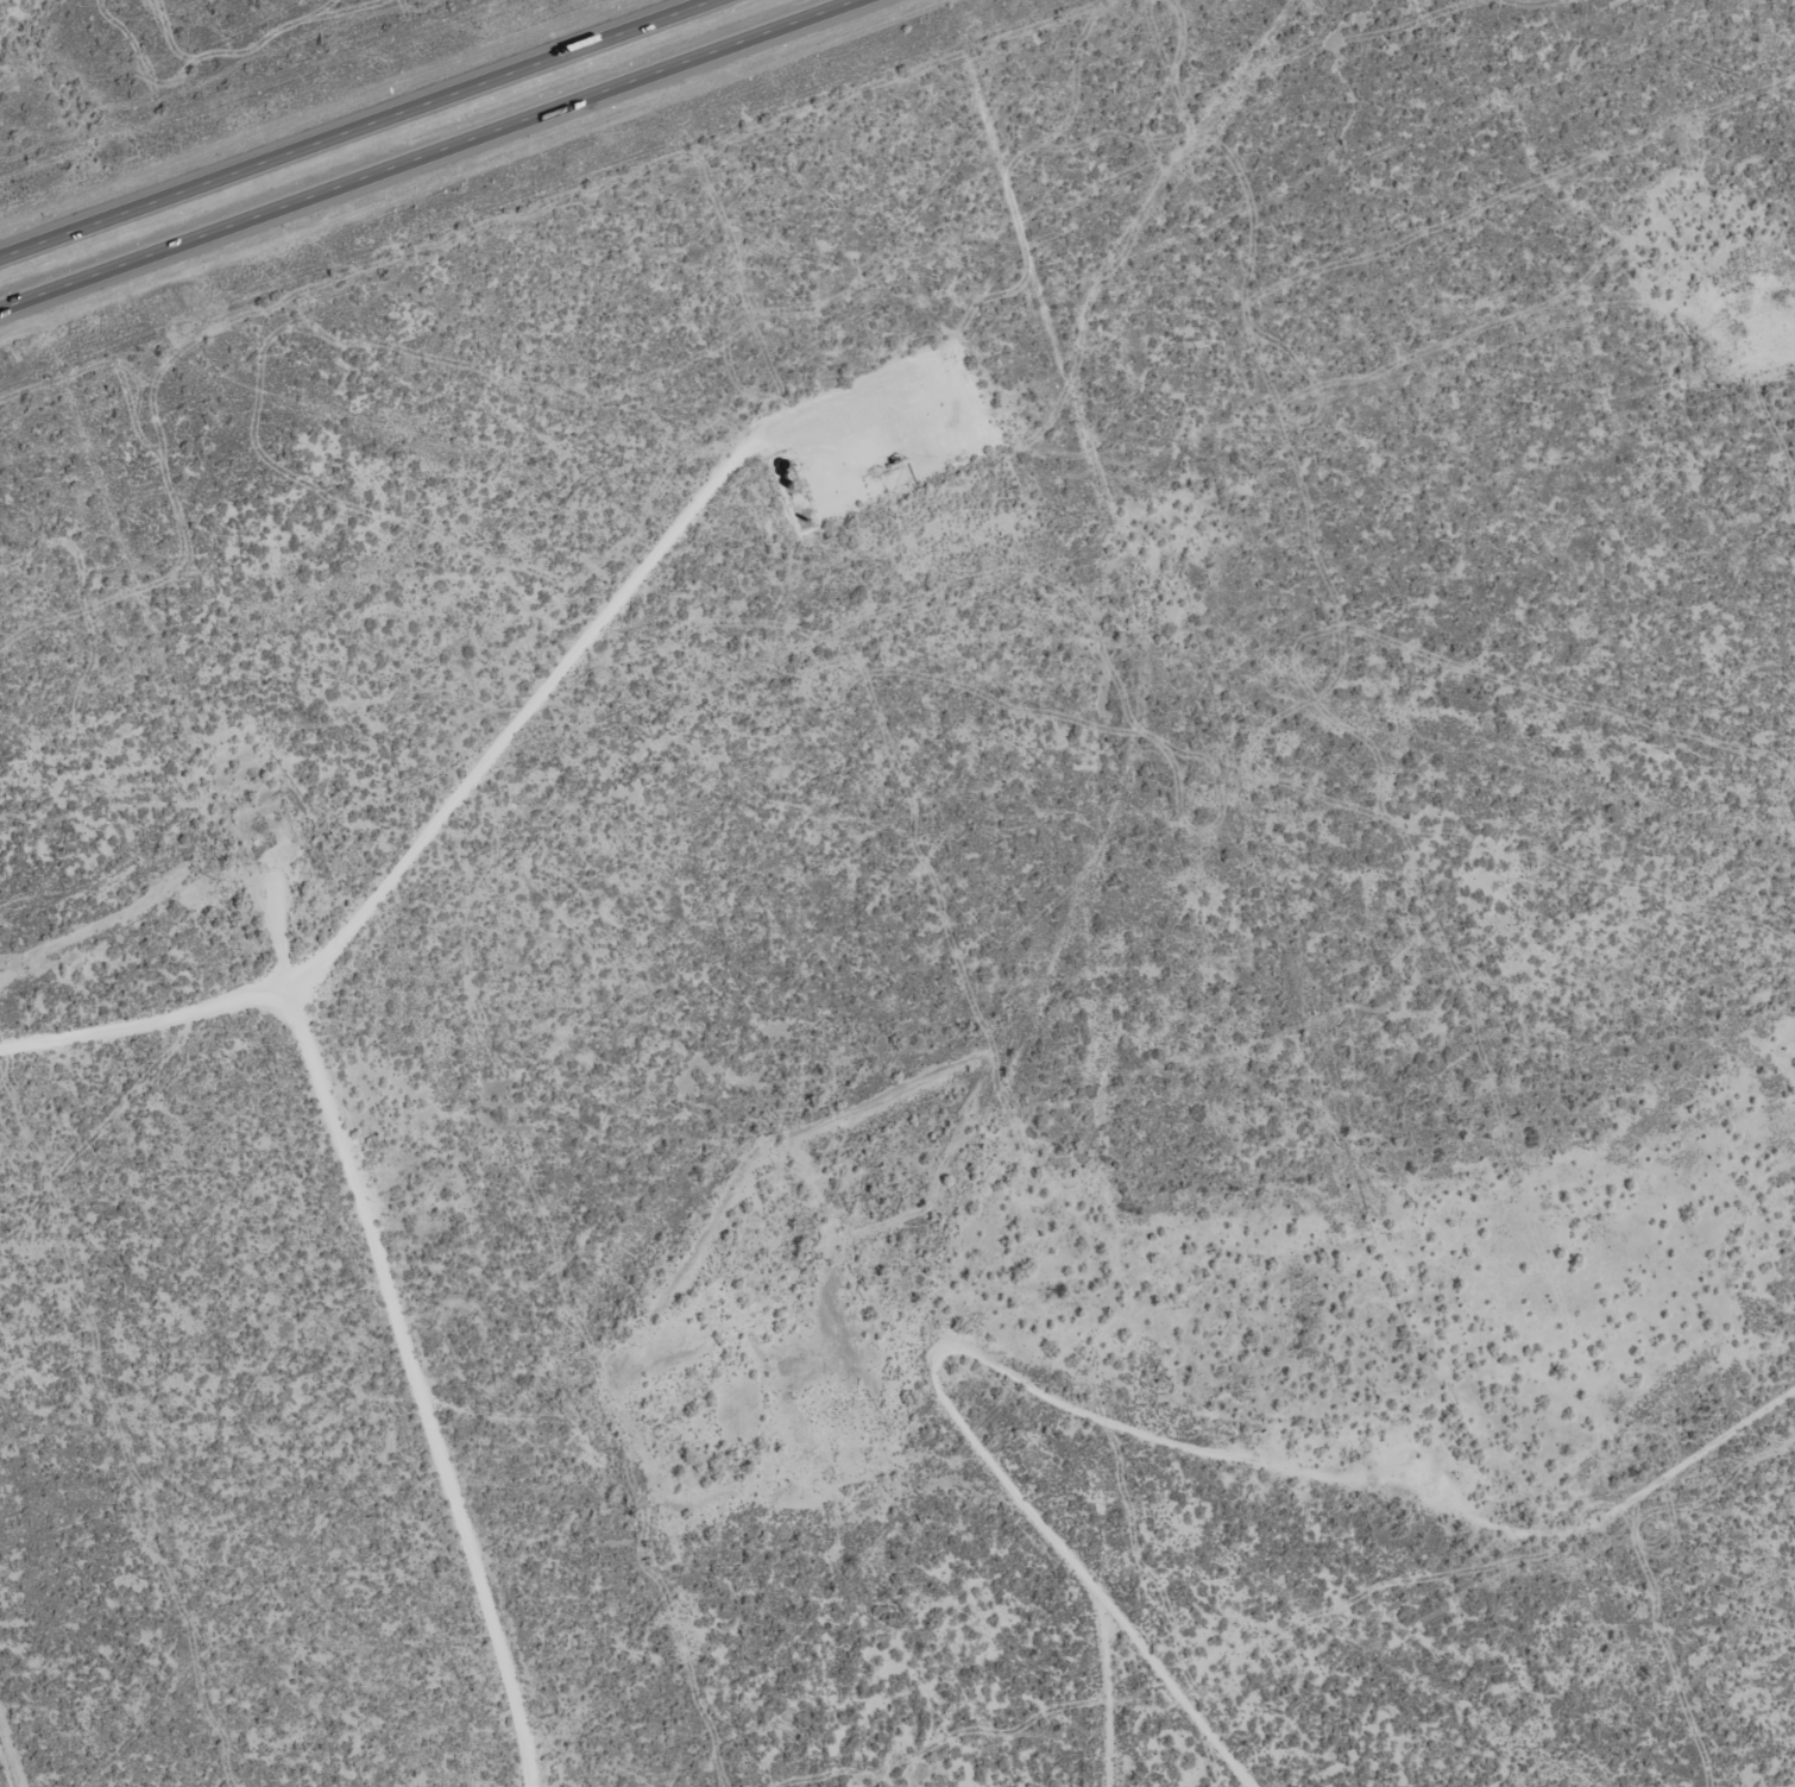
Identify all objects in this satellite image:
road: (354, 127)
road: (426, 153)
road: (483, 769)
road: (417, 1384)
road: (1136, 1426)
road: (1180, 1695)

